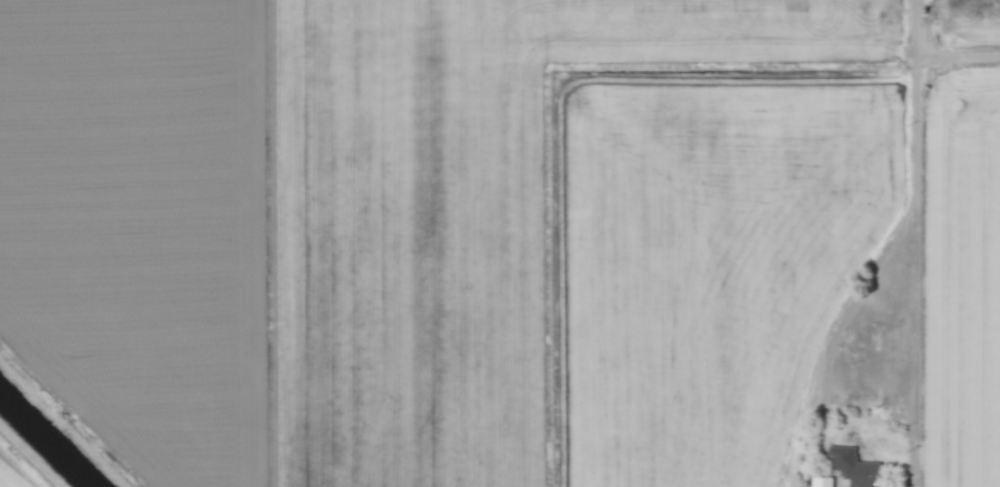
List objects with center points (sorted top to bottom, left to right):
road: (923, 222)
building: (858, 472)
building: (819, 481)

